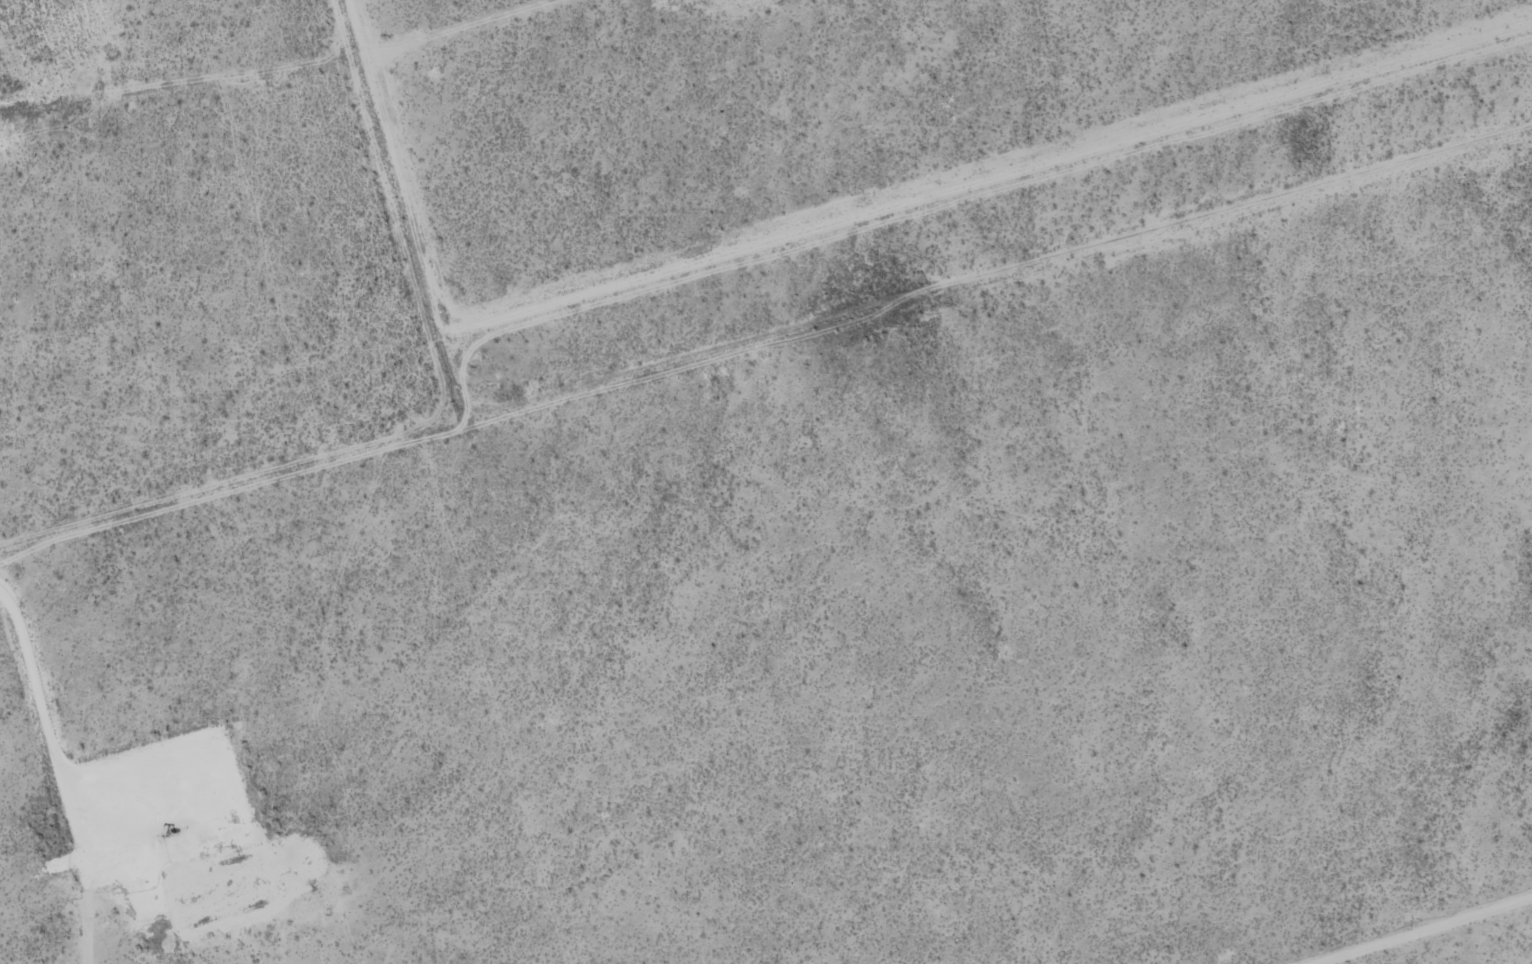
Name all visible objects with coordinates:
road: (27, 676)

